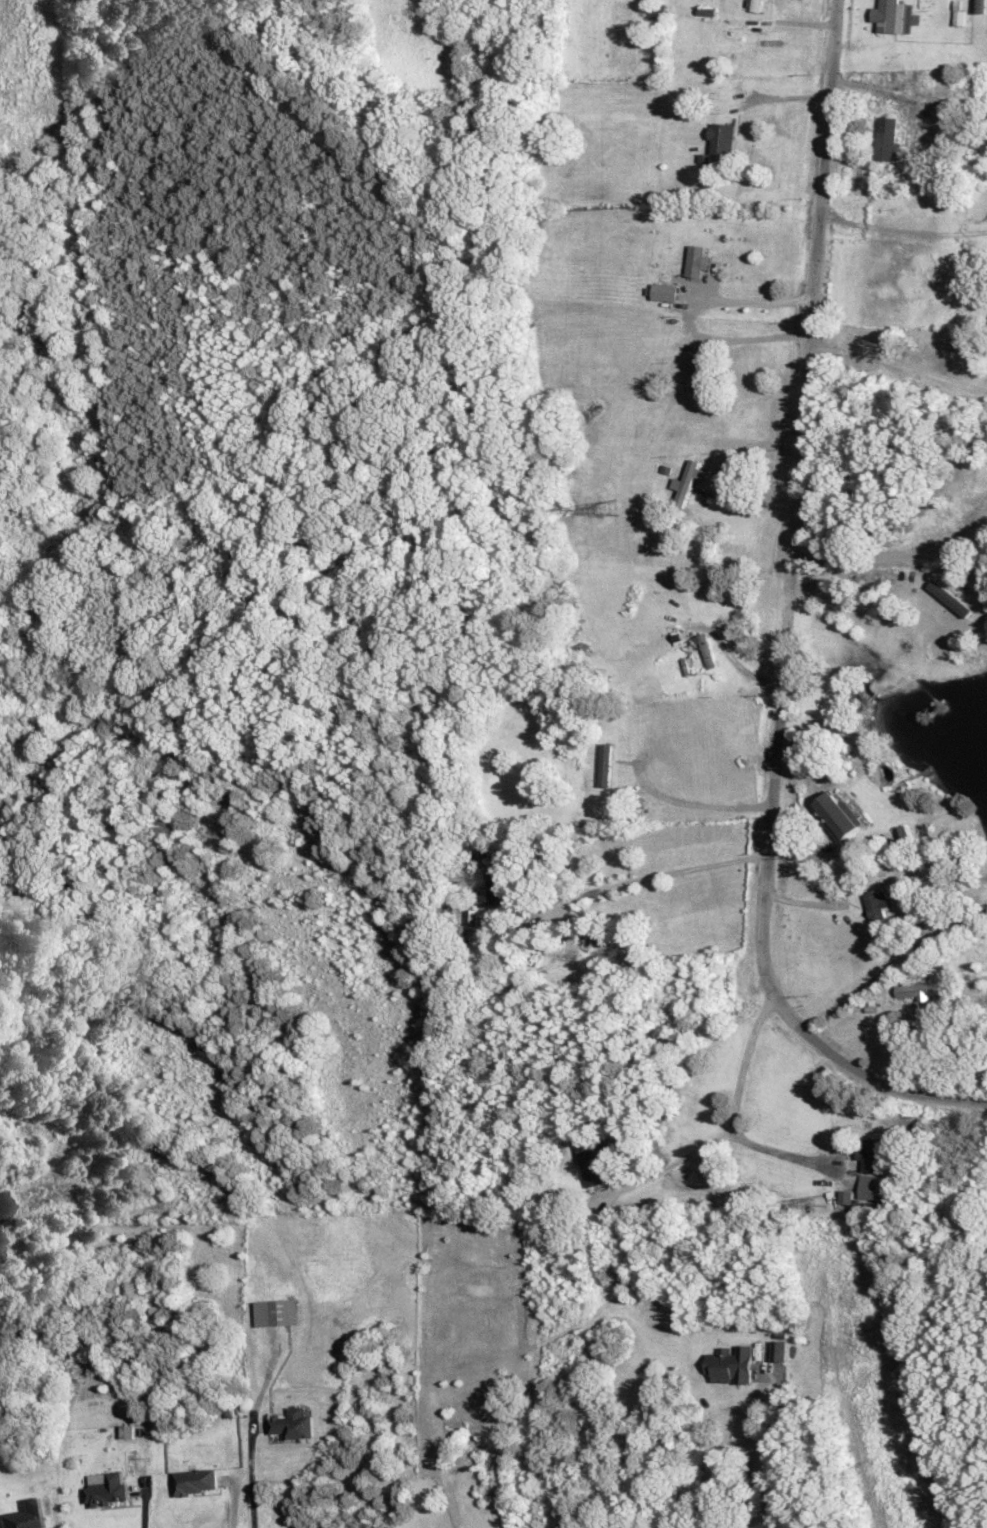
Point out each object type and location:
building: (979, 6)
building: (656, 12)
building: (957, 13)
building: (888, 16)
road: (779, 99)
building: (720, 138)
building: (887, 139)
road: (901, 231)
building: (695, 260)
building: (663, 291)
road: (687, 316)
road: (897, 367)
building: (692, 374)
building: (686, 479)
power tower: (605, 509)
road: (848, 557)
building: (949, 597)
road: (784, 624)
building: (705, 648)
building: (603, 764)
road: (696, 805)
building: (838, 815)
building: (900, 833)
road: (655, 874)
building: (493, 887)
building: (875, 903)
building: (469, 916)
building: (918, 989)
road: (730, 1121)
road: (778, 1150)
building: (870, 1154)
building: (589, 1161)
building: (869, 1186)
building: (845, 1196)
power tower: (815, 1203)
building: (276, 1312)
building: (779, 1350)
building: (731, 1364)
building: (292, 1423)
building: (126, 1431)
road: (759, 1457)
building: (194, 1480)
road: (251, 1484)
building: (105, 1488)
road: (142, 1509)
building: (22, 1515)
road: (229, 1517)

